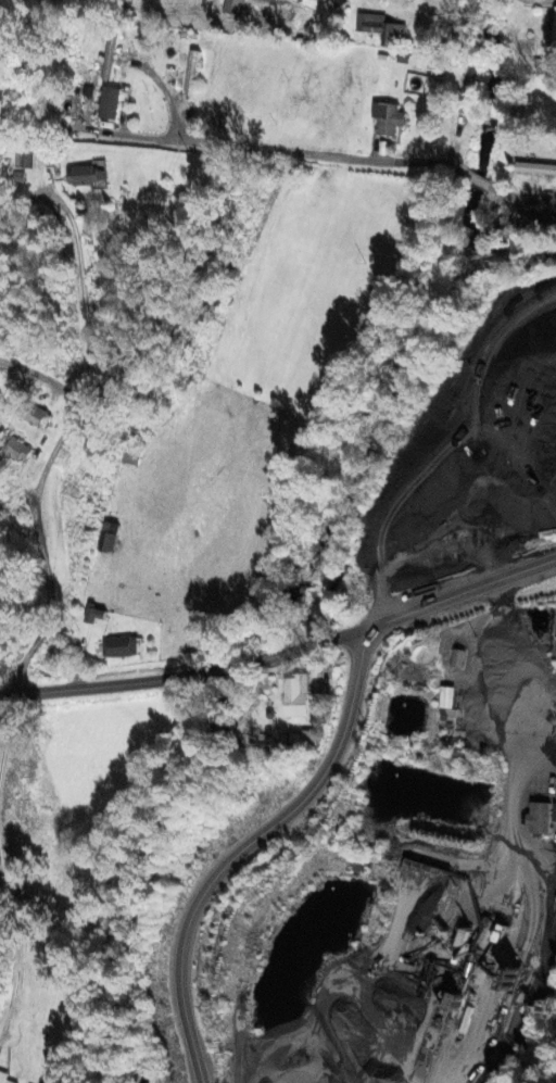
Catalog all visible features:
road: (534, 2)
building: (232, 7)
building: (380, 28)
building: (551, 36)
building: (108, 102)
building: (387, 117)
road: (270, 148)
building: (22, 155)
building: (85, 175)
road: (477, 180)
road: (522, 194)
road: (74, 314)
building: (33, 415)
building: (17, 449)
road: (43, 514)
building: (93, 614)
road: (413, 615)
building: (118, 646)
road: (239, 664)
road: (105, 683)
building: (293, 696)
building: (445, 696)
road: (7, 736)
building: (554, 813)
building: (539, 817)
road: (250, 849)
road: (23, 942)
road: (540, 1058)
building: (4, 1078)

